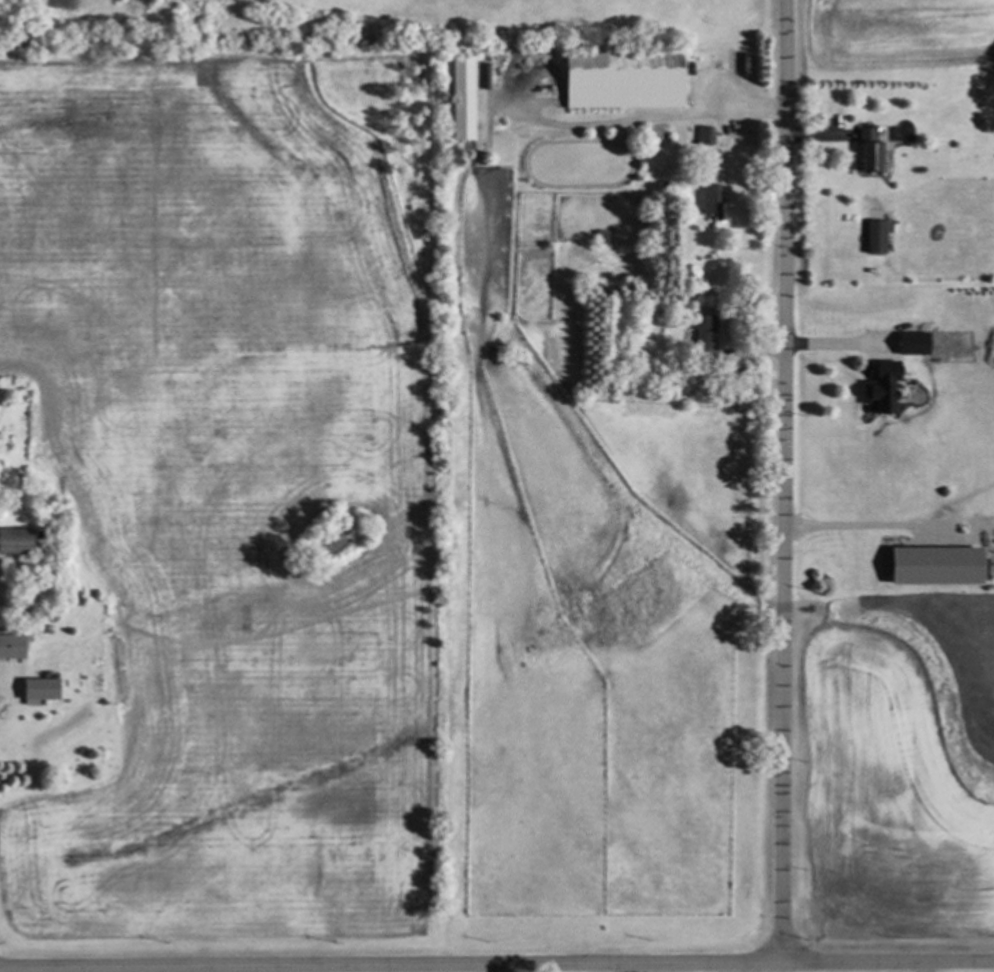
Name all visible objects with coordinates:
airport runway: (677, 4)
building: (620, 80)
building: (459, 98)
road: (645, 119)
building: (703, 136)
building: (865, 149)
building: (710, 201)
building: (874, 236)
building: (704, 337)
road: (836, 341)
building: (908, 344)
building: (879, 387)
road: (782, 482)
road: (871, 522)
building: (11, 542)
building: (931, 566)
building: (10, 647)
building: (35, 690)
road: (497, 965)
road: (318, 969)

